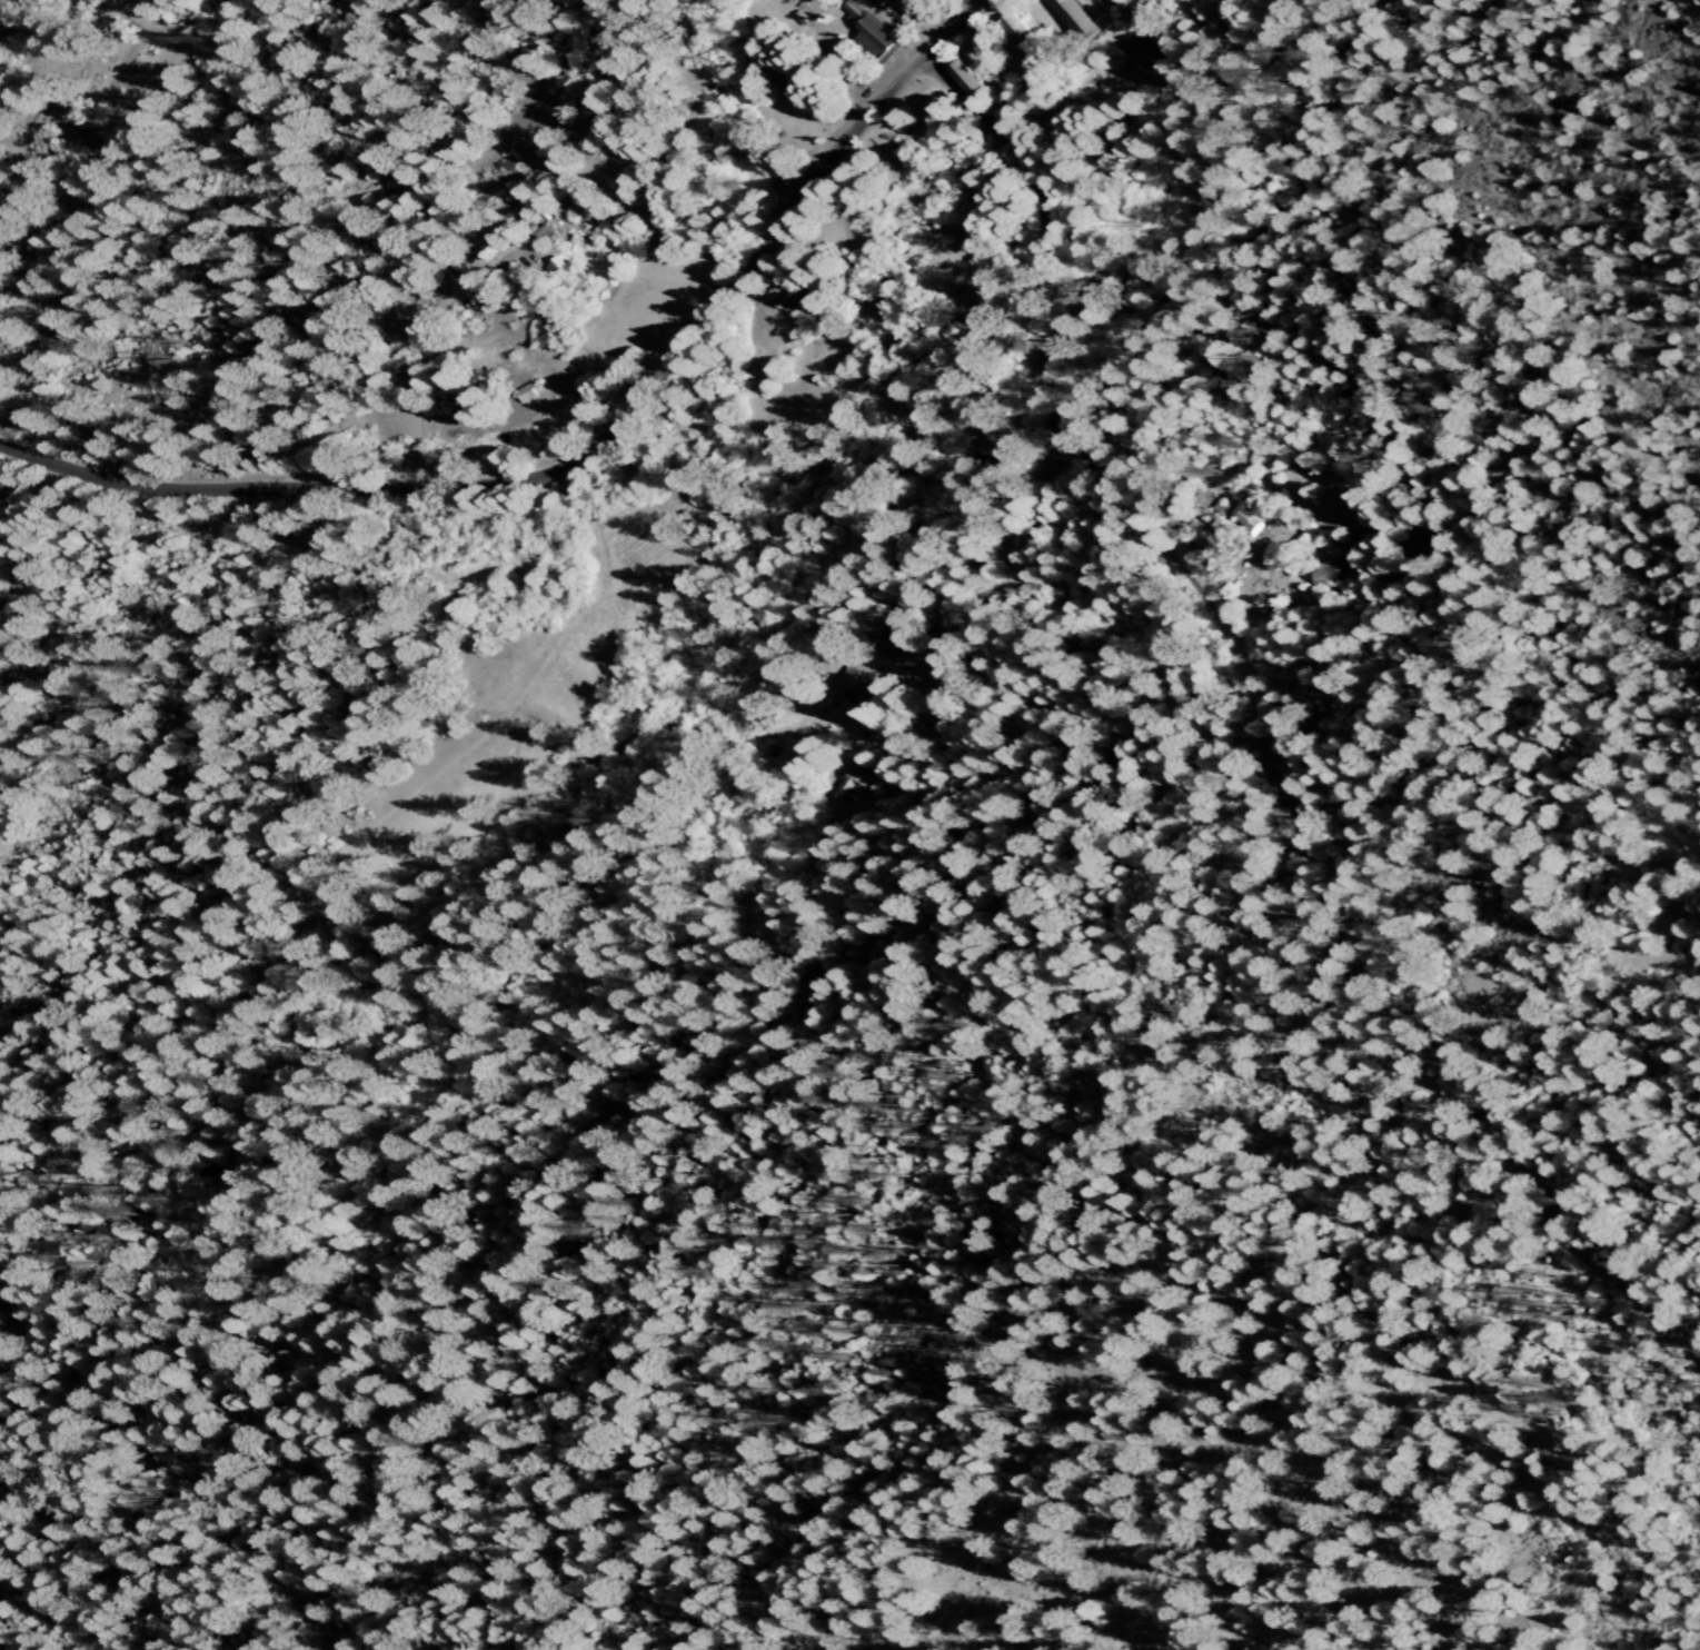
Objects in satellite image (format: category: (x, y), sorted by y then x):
road: (0, 0)
building: (1073, 17)
road: (893, 28)
building: (866, 31)
building: (961, 76)
park: (415, 226)
building: (559, 274)
building: (778, 297)
park: (1383, 347)
building: (521, 392)
road: (1070, 431)
road: (585, 447)
building: (1243, 517)
building: (1322, 573)
park: (575, 656)
building: (852, 680)
building: (847, 783)
road: (1474, 1090)
park: (4, 1266)
park: (1676, 1278)
park: (839, 1587)

